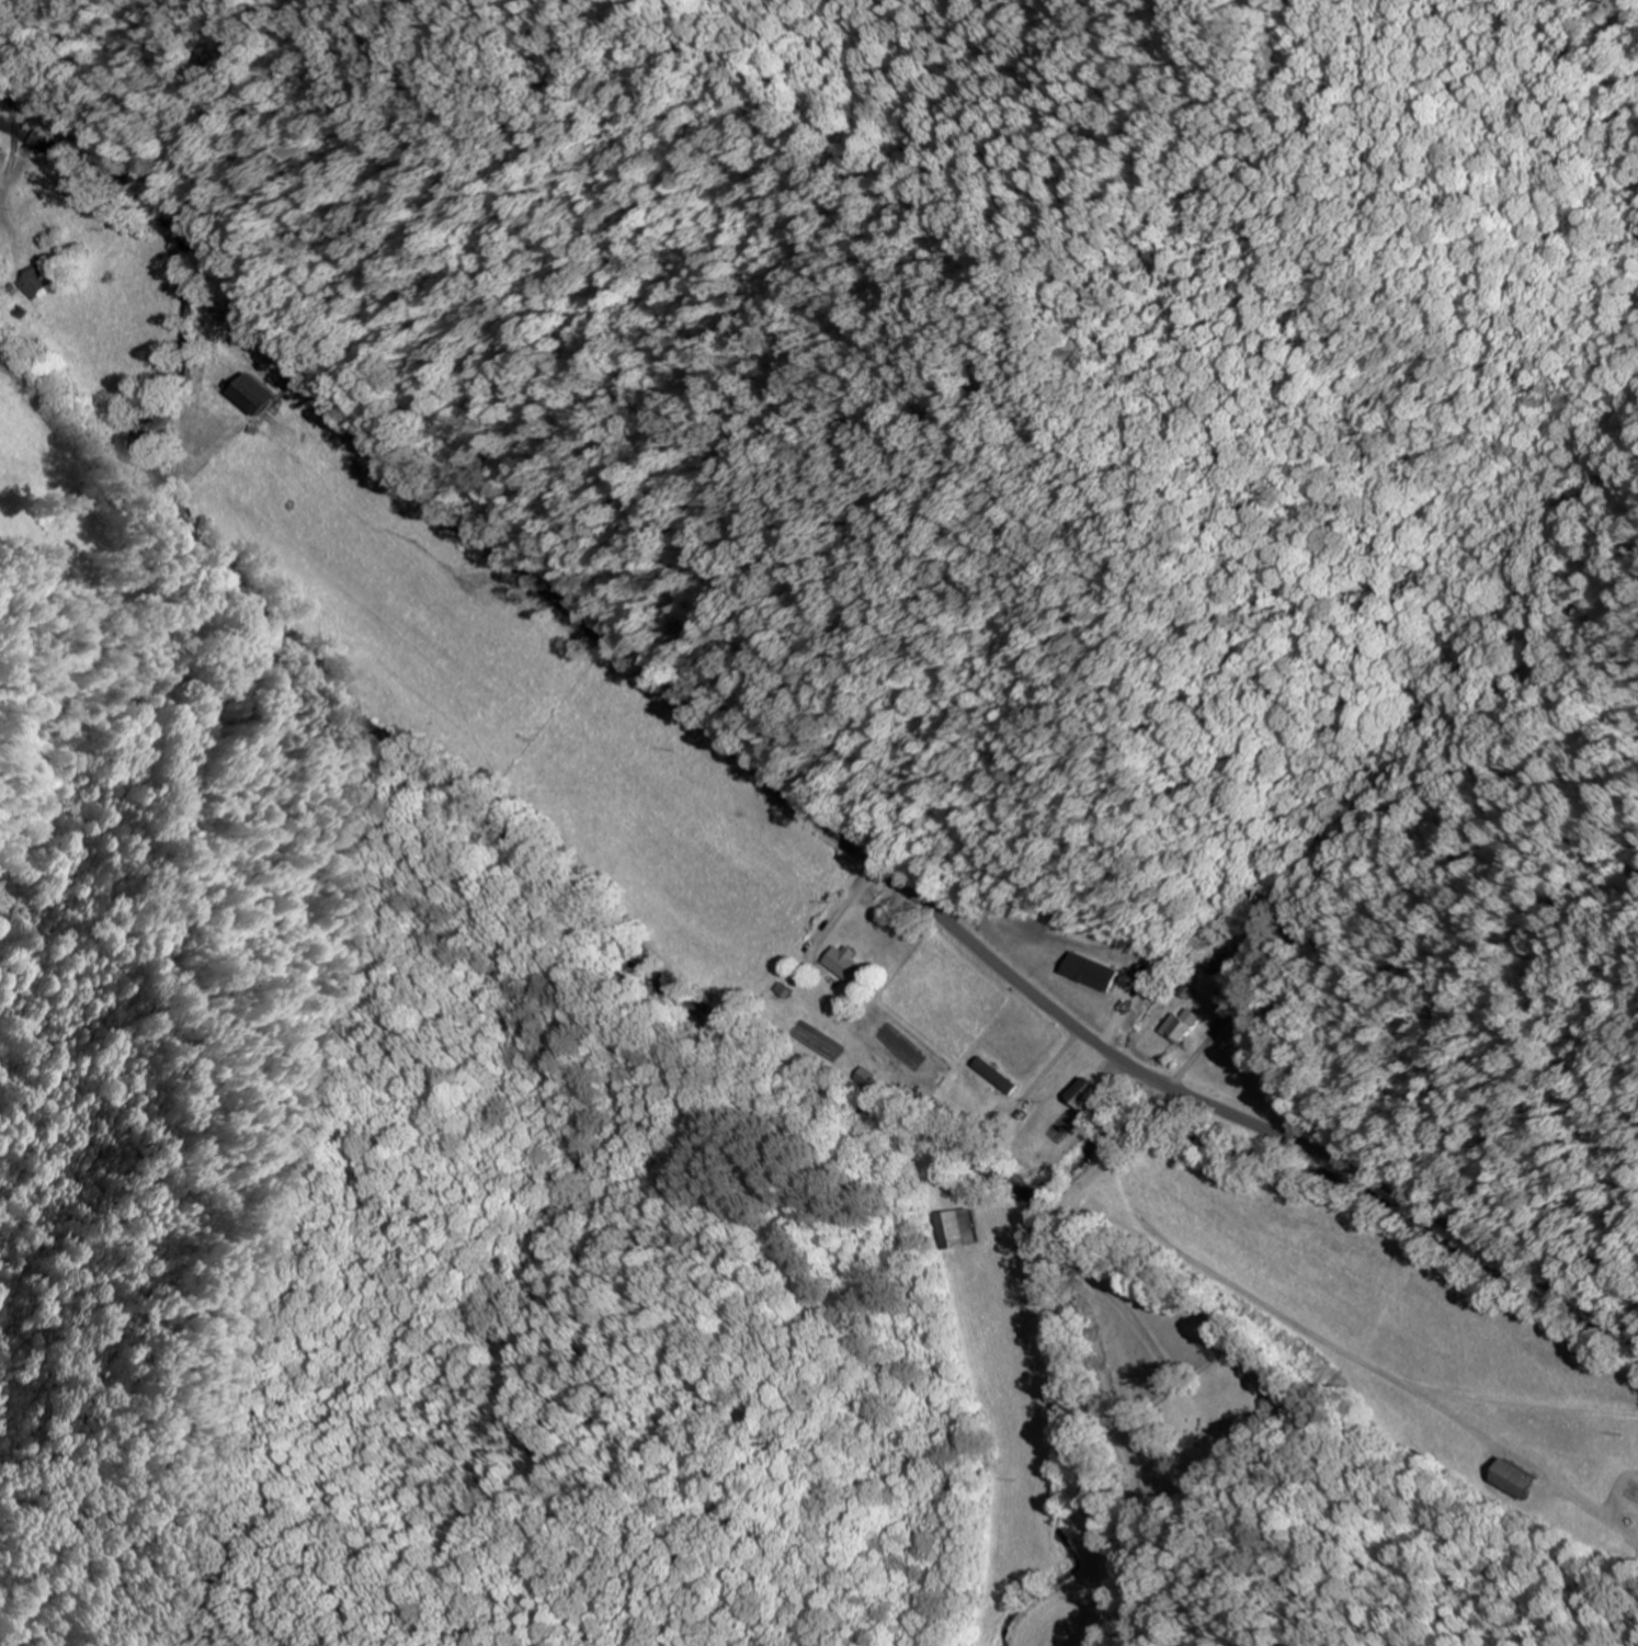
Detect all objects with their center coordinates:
building: (253, 395)
road: (762, 774)
building: (845, 965)
building: (1181, 1025)
building: (867, 1077)
building: (1090, 1097)
road: (1169, 1102)
road: (1158, 1124)
building: (956, 1227)
road: (1101, 1365)
building: (1513, 1478)

